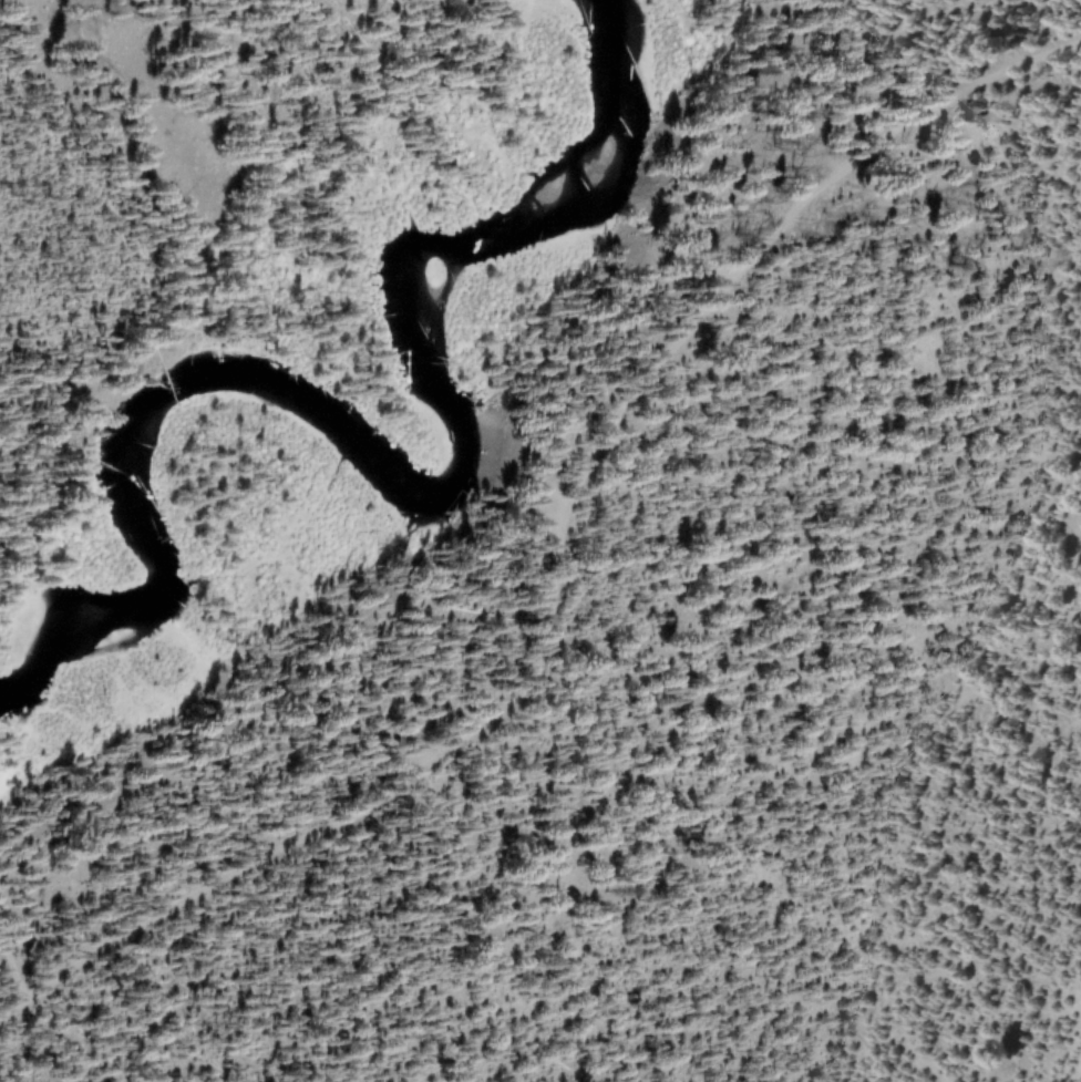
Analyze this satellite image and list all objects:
river: (389, 463)
road: (534, 563)

